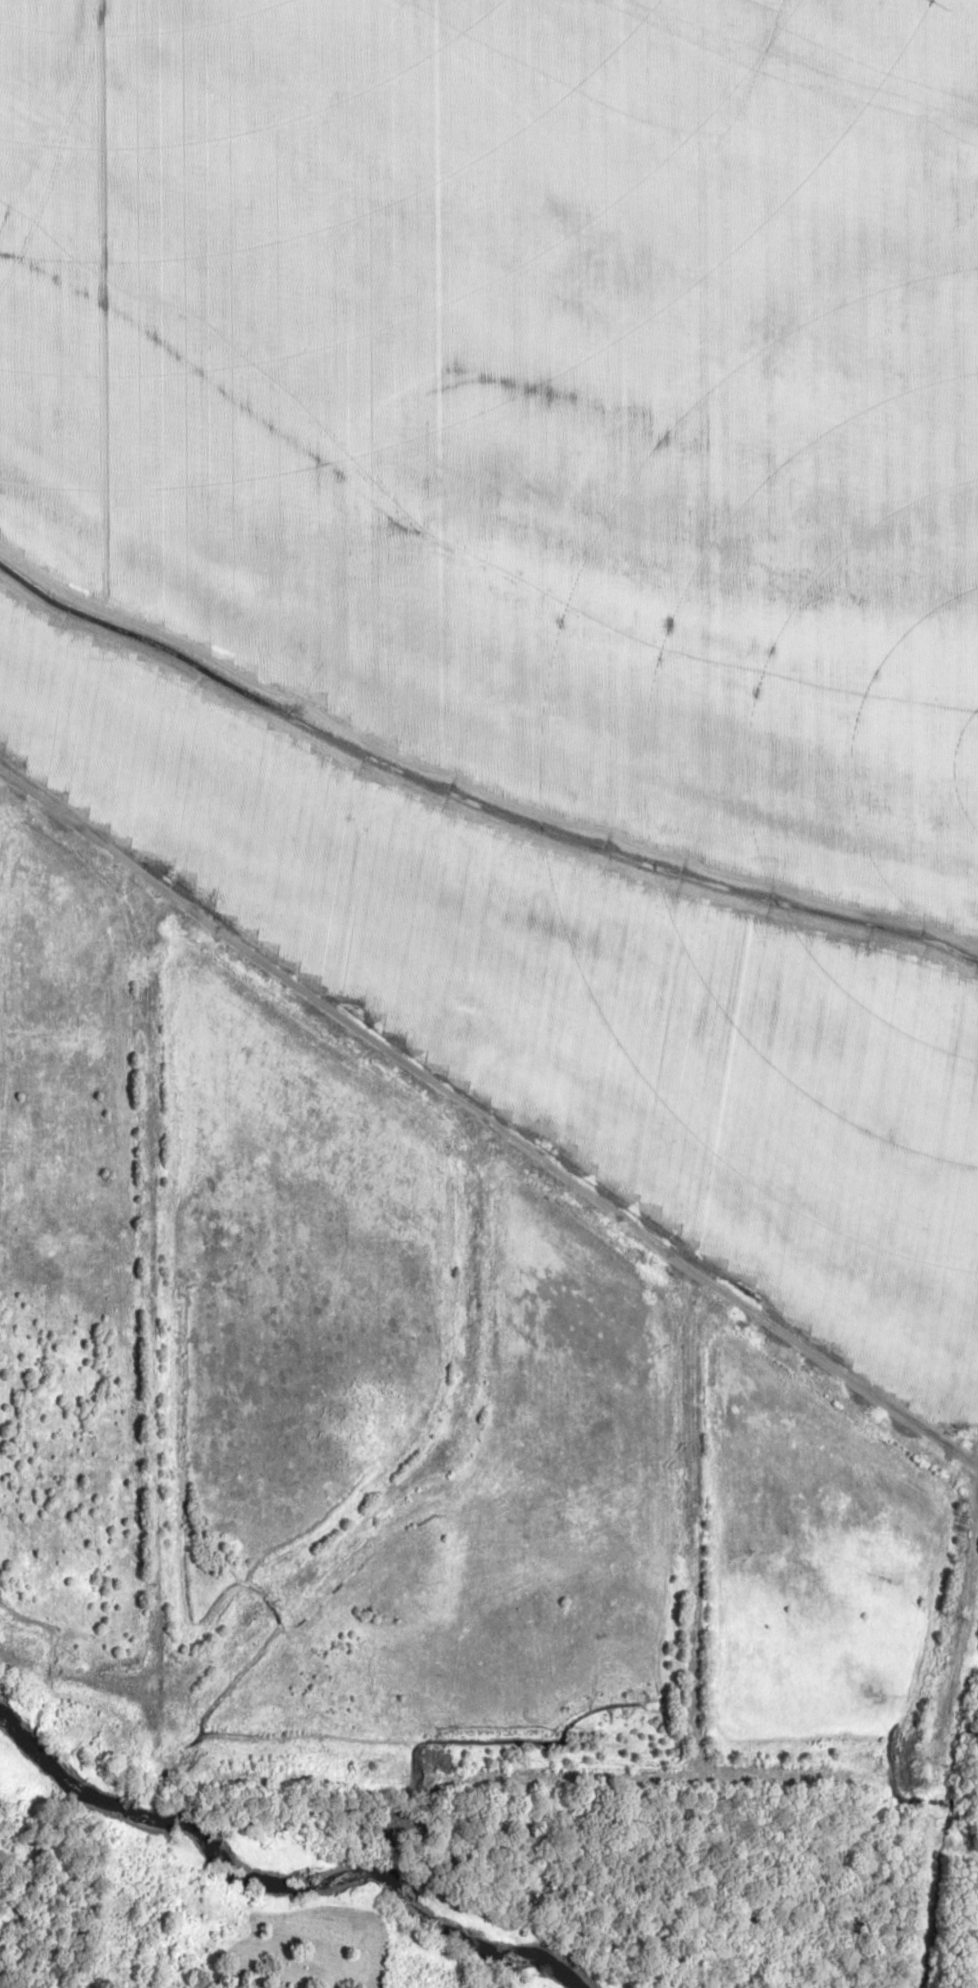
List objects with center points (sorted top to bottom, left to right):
road: (485, 1122)
road: (541, 1774)

